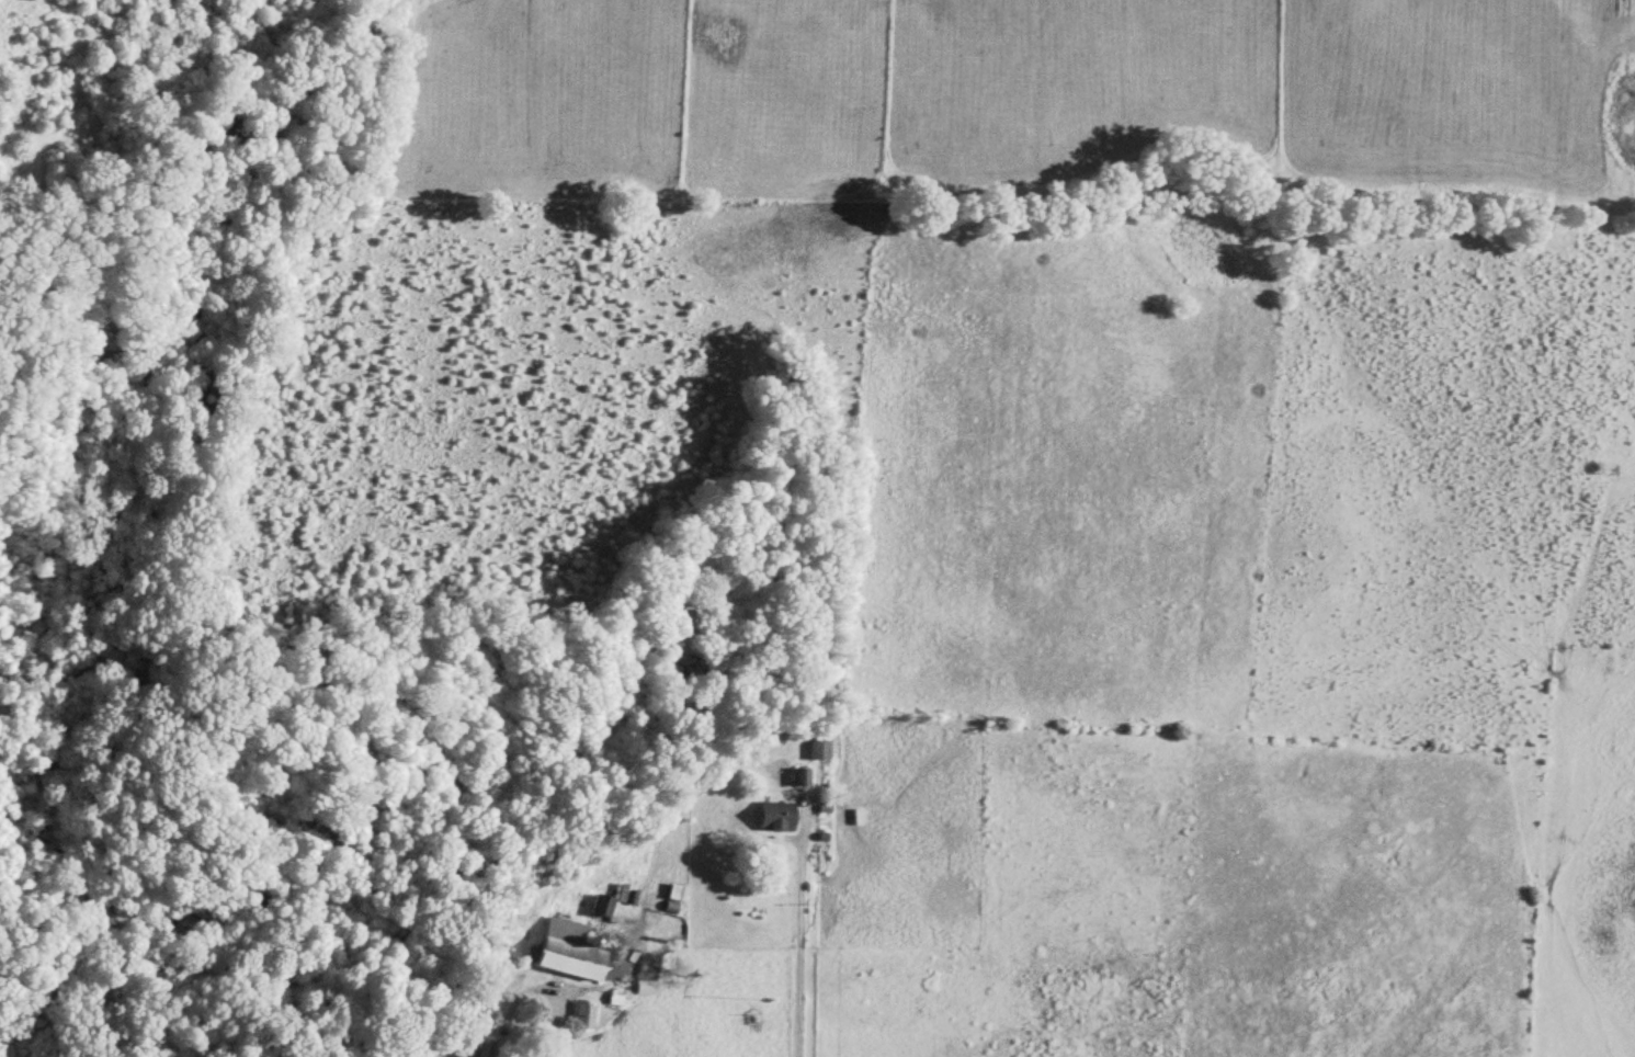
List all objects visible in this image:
crop: (998, 103)
crop: (1170, 653)
road: (1508, 730)
building: (819, 746)
building: (801, 780)
building: (777, 819)
building: (602, 908)
building: (571, 953)
road: (797, 957)
building: (648, 990)
building: (587, 1019)
road: (557, 1027)
building: (486, 1048)

